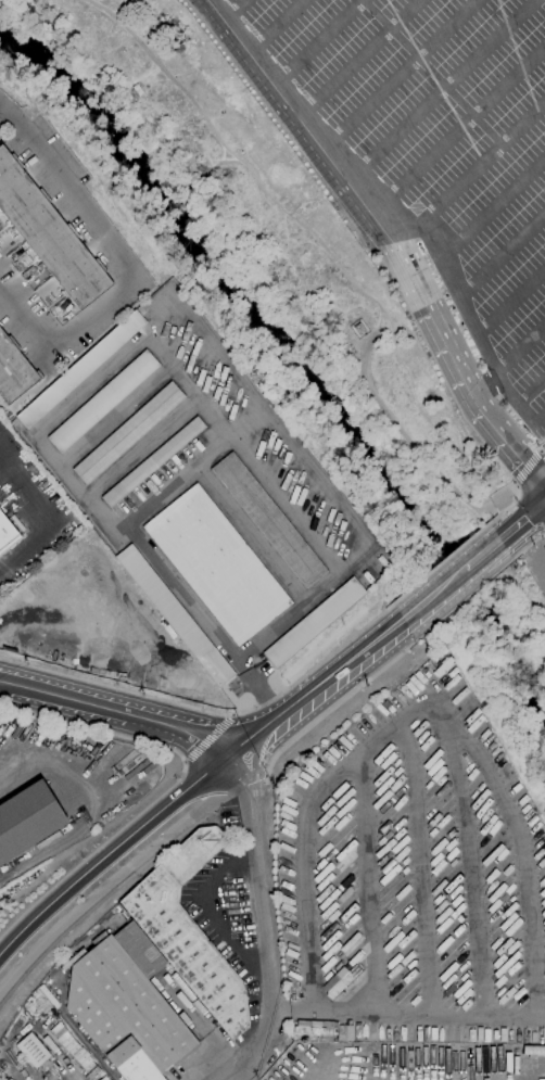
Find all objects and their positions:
road: (233, 11)
road: (277, 27)
road: (318, 43)
road: (358, 60)
road: (430, 74)
road: (396, 76)
road: (439, 90)
road: (1, 109)
road: (292, 112)
road: (456, 129)
road: (473, 173)
parking lot: (429, 174)
road: (494, 207)
building: (49, 236)
road: (503, 253)
road: (122, 267)
road: (511, 300)
road: (436, 310)
road: (421, 320)
road: (474, 327)
building: (358, 329)
road: (520, 346)
river: (288, 360)
road: (117, 367)
building: (80, 369)
building: (13, 371)
road: (530, 391)
building: (102, 402)
road: (241, 416)
road: (267, 417)
road: (118, 418)
road: (540, 423)
building: (128, 433)
road: (409, 440)
road: (543, 448)
road: (143, 449)
road: (511, 449)
road: (543, 454)
building: (152, 462)
road: (527, 469)
road: (178, 481)
road: (505, 507)
road: (521, 518)
road: (45, 520)
building: (268, 520)
building: (5, 532)
road: (531, 532)
road: (250, 534)
road: (527, 547)
road: (480, 554)
road: (440, 562)
building: (216, 564)
road: (431, 593)
road: (458, 594)
road: (461, 600)
building: (175, 615)
building: (313, 623)
road: (386, 628)
road: (348, 659)
road: (332, 698)
road: (332, 707)
road: (115, 710)
road: (212, 712)
road: (274, 719)
road: (208, 739)
road: (111, 751)
road: (264, 766)
road: (238, 783)
road: (169, 789)
road: (98, 809)
road: (508, 809)
building: (27, 819)
road: (109, 853)
road: (468, 854)
road: (417, 865)
road: (308, 868)
road: (103, 889)
road: (256, 890)
road: (105, 899)
building: (188, 930)
building: (335, 982)
building: (126, 1006)
building: (319, 1030)
building: (31, 1051)
road: (242, 1056)
road: (230, 1075)

